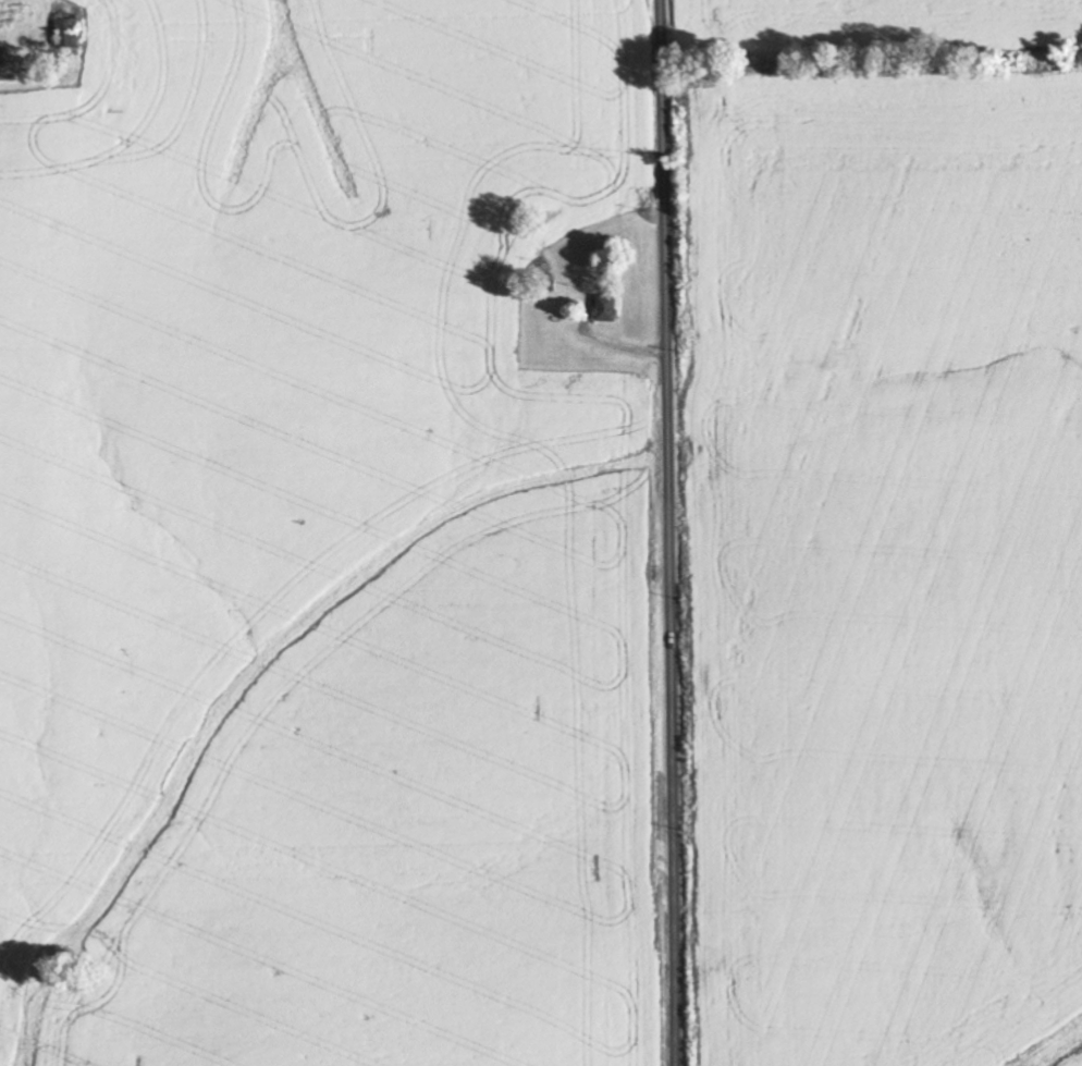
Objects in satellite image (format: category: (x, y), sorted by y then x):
building: (608, 308)
road: (672, 532)

